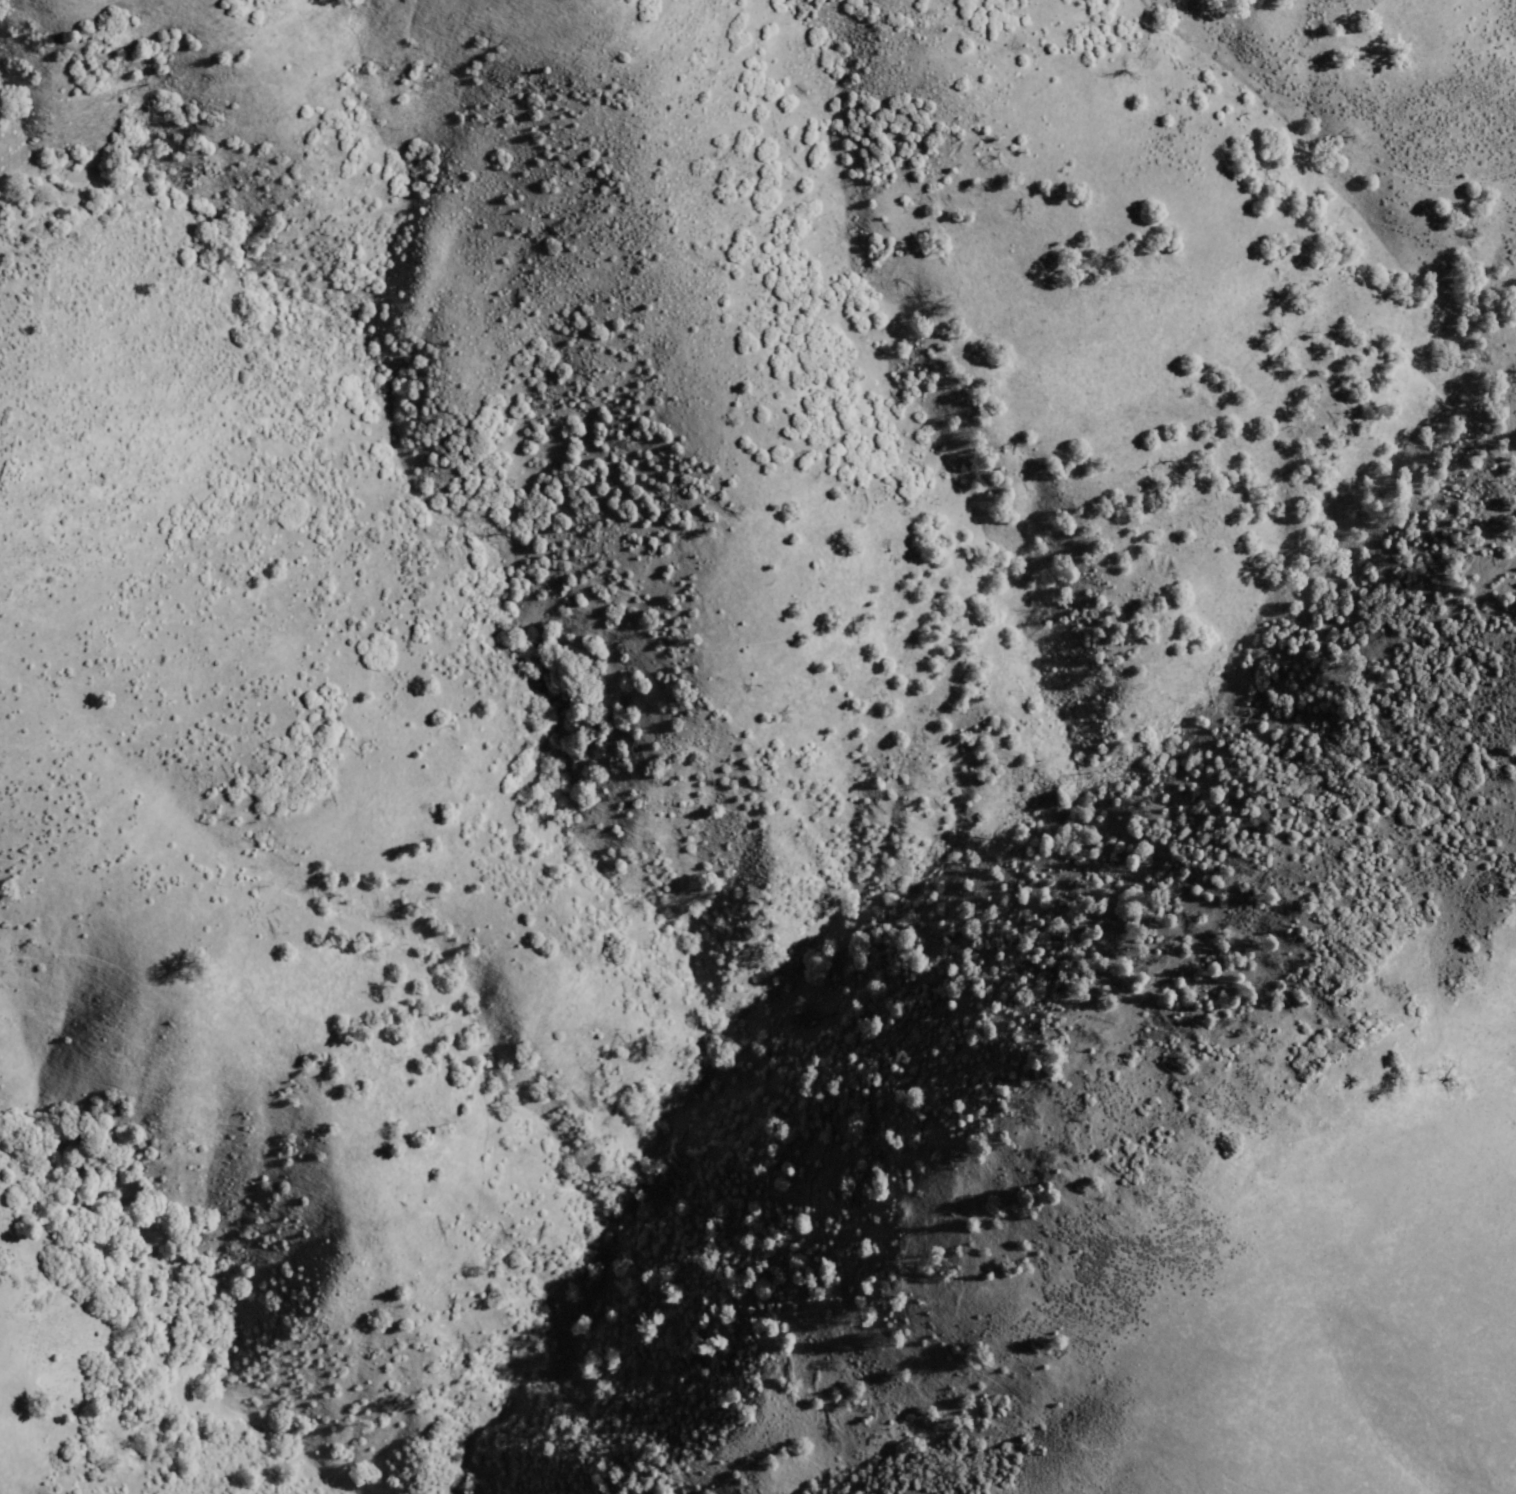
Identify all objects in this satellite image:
road: (1396, 158)

